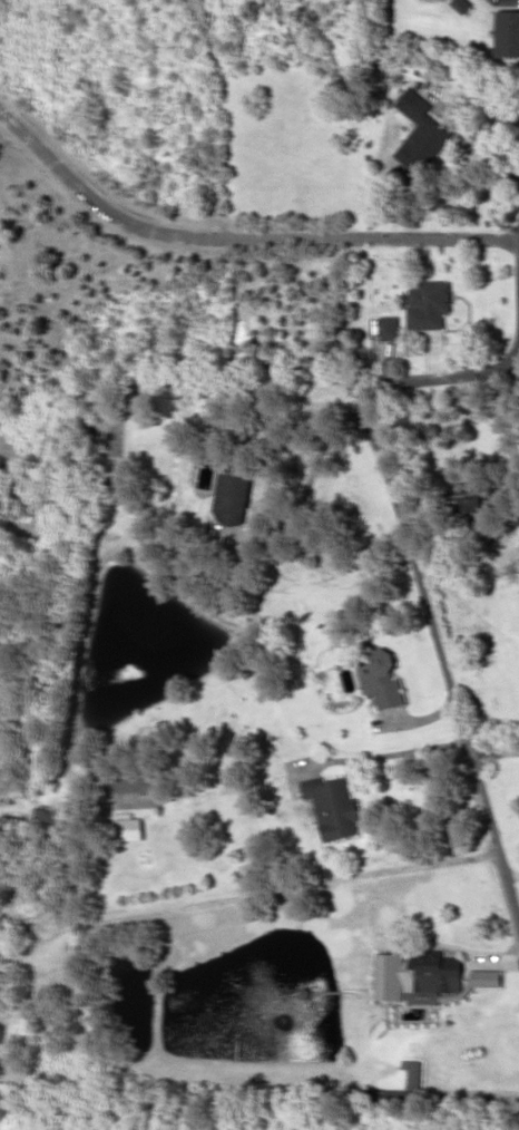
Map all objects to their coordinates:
building: (461, 6)
building: (507, 33)
building: (419, 133)
road: (236, 237)
road: (518, 244)
building: (428, 304)
building: (388, 328)
building: (232, 495)
road: (418, 582)
building: (381, 680)
building: (135, 785)
building: (332, 807)
building: (43, 820)
building: (128, 829)
building: (415, 977)
building: (483, 977)
building: (412, 1074)
building: (392, 1097)

